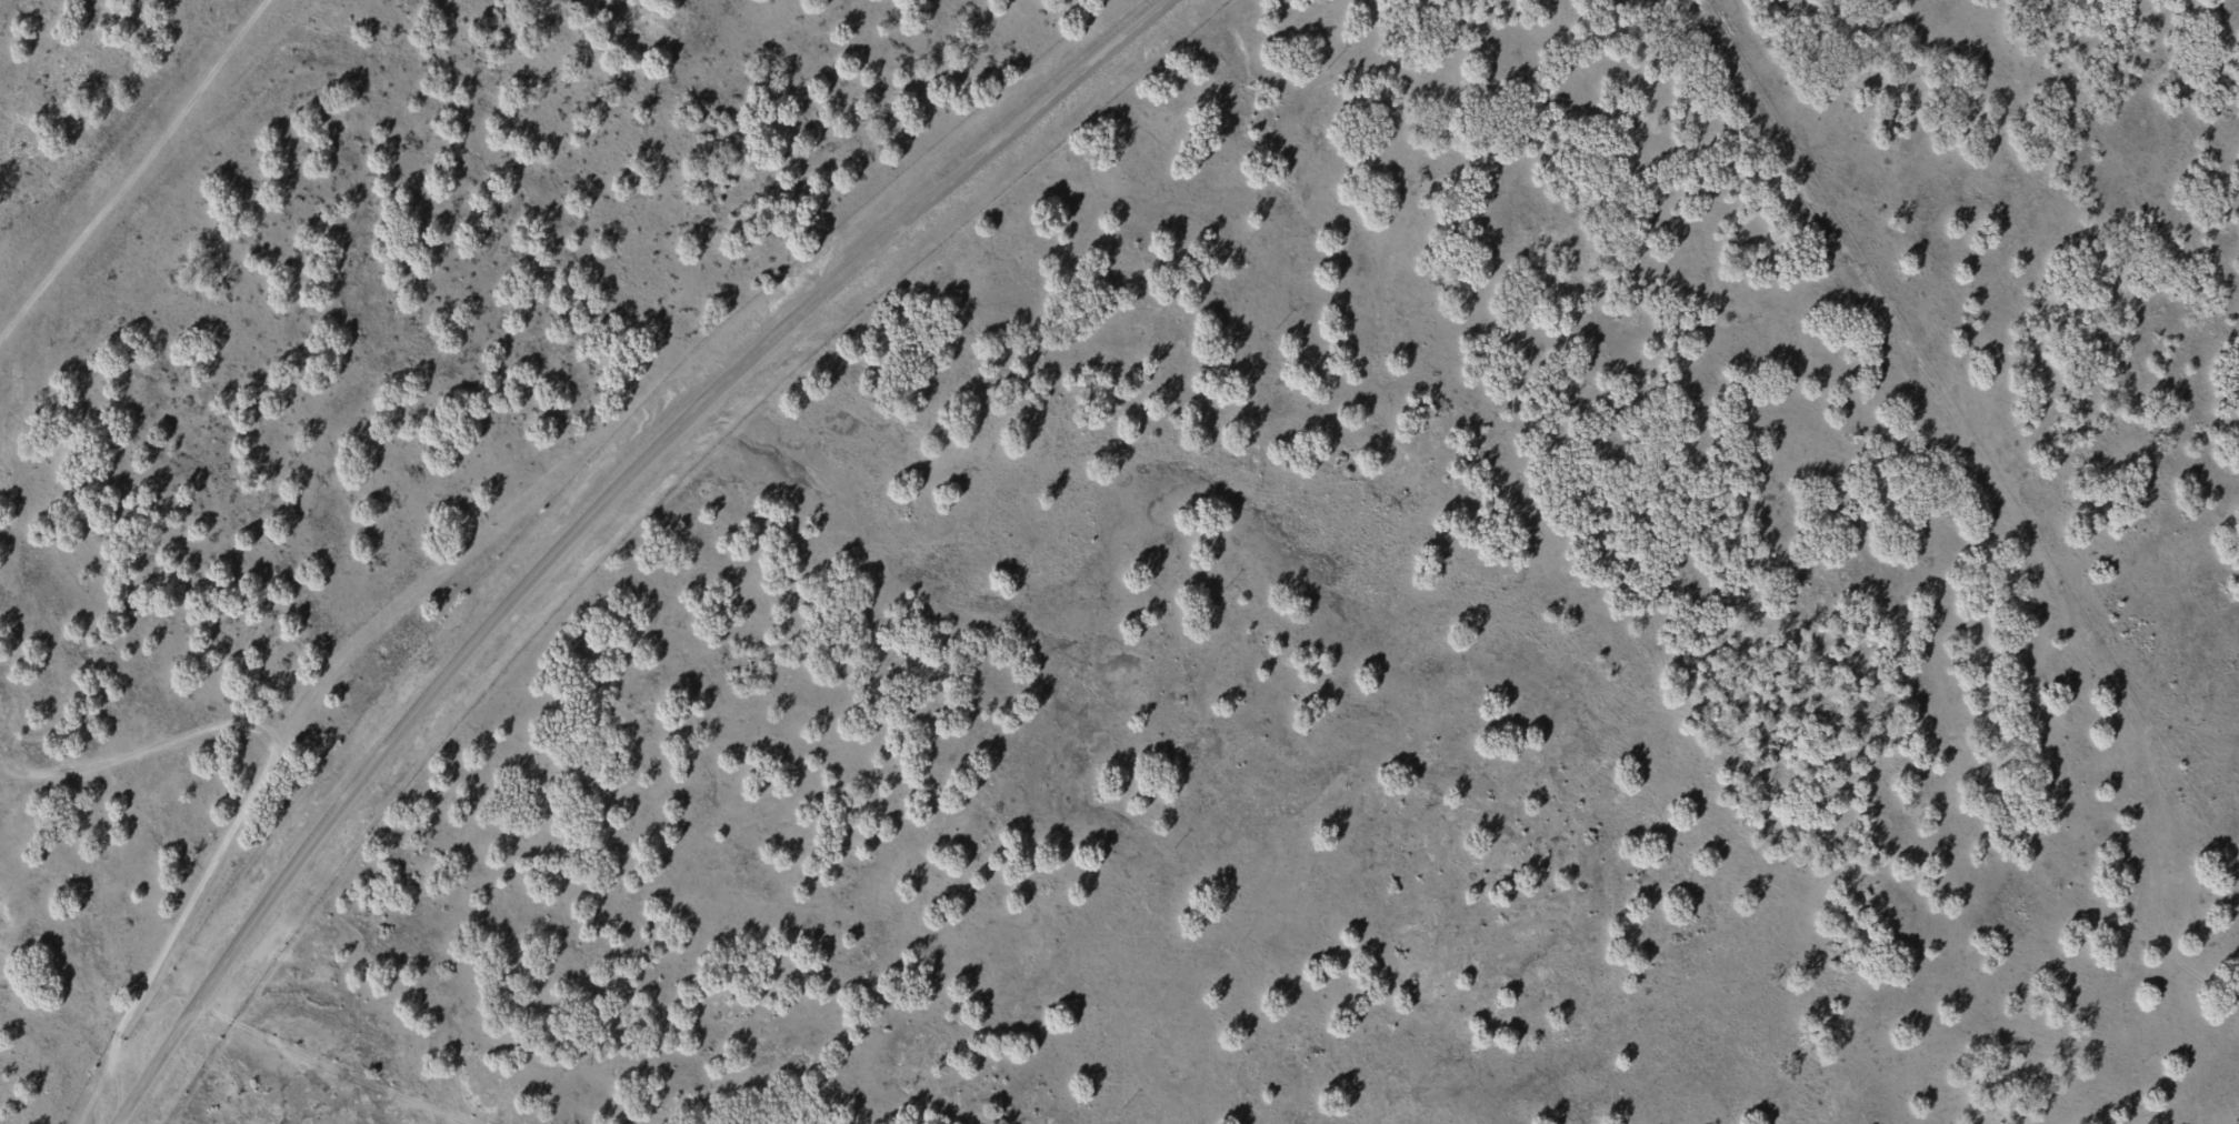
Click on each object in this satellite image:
airport runway: (138, 171)
road: (590, 509)
road: (160, 821)

